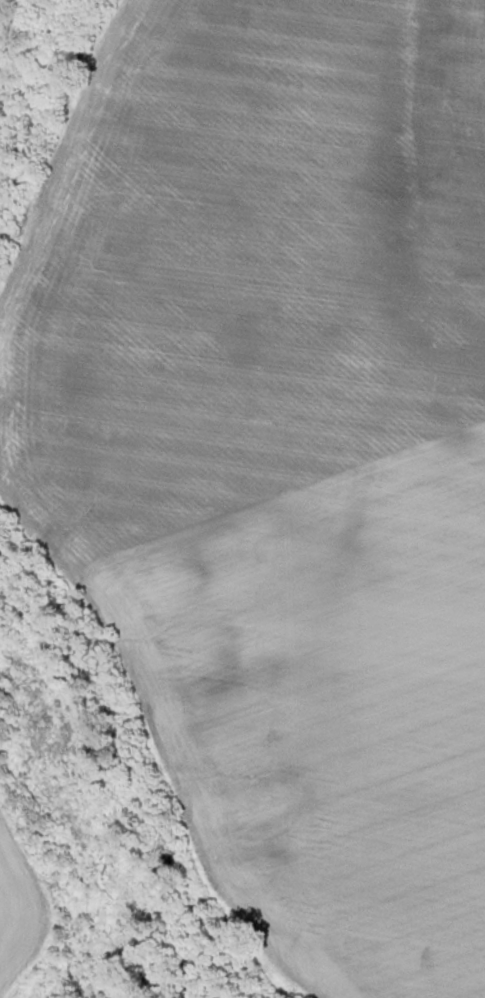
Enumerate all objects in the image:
park: (34, 64)

